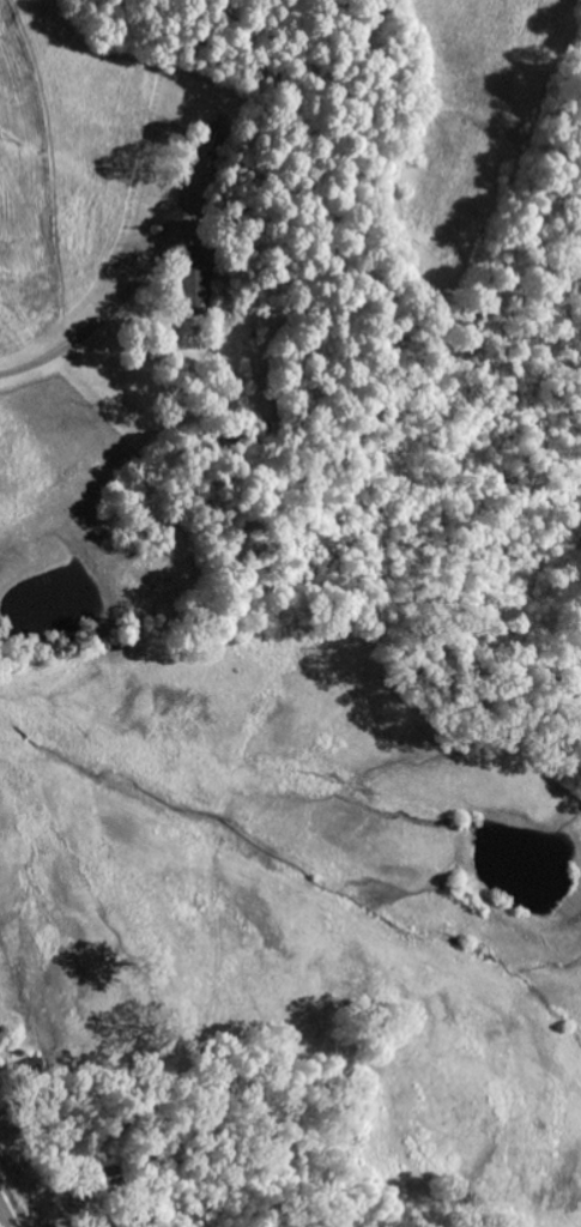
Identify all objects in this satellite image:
building: (195, 282)
road: (6, 1215)

